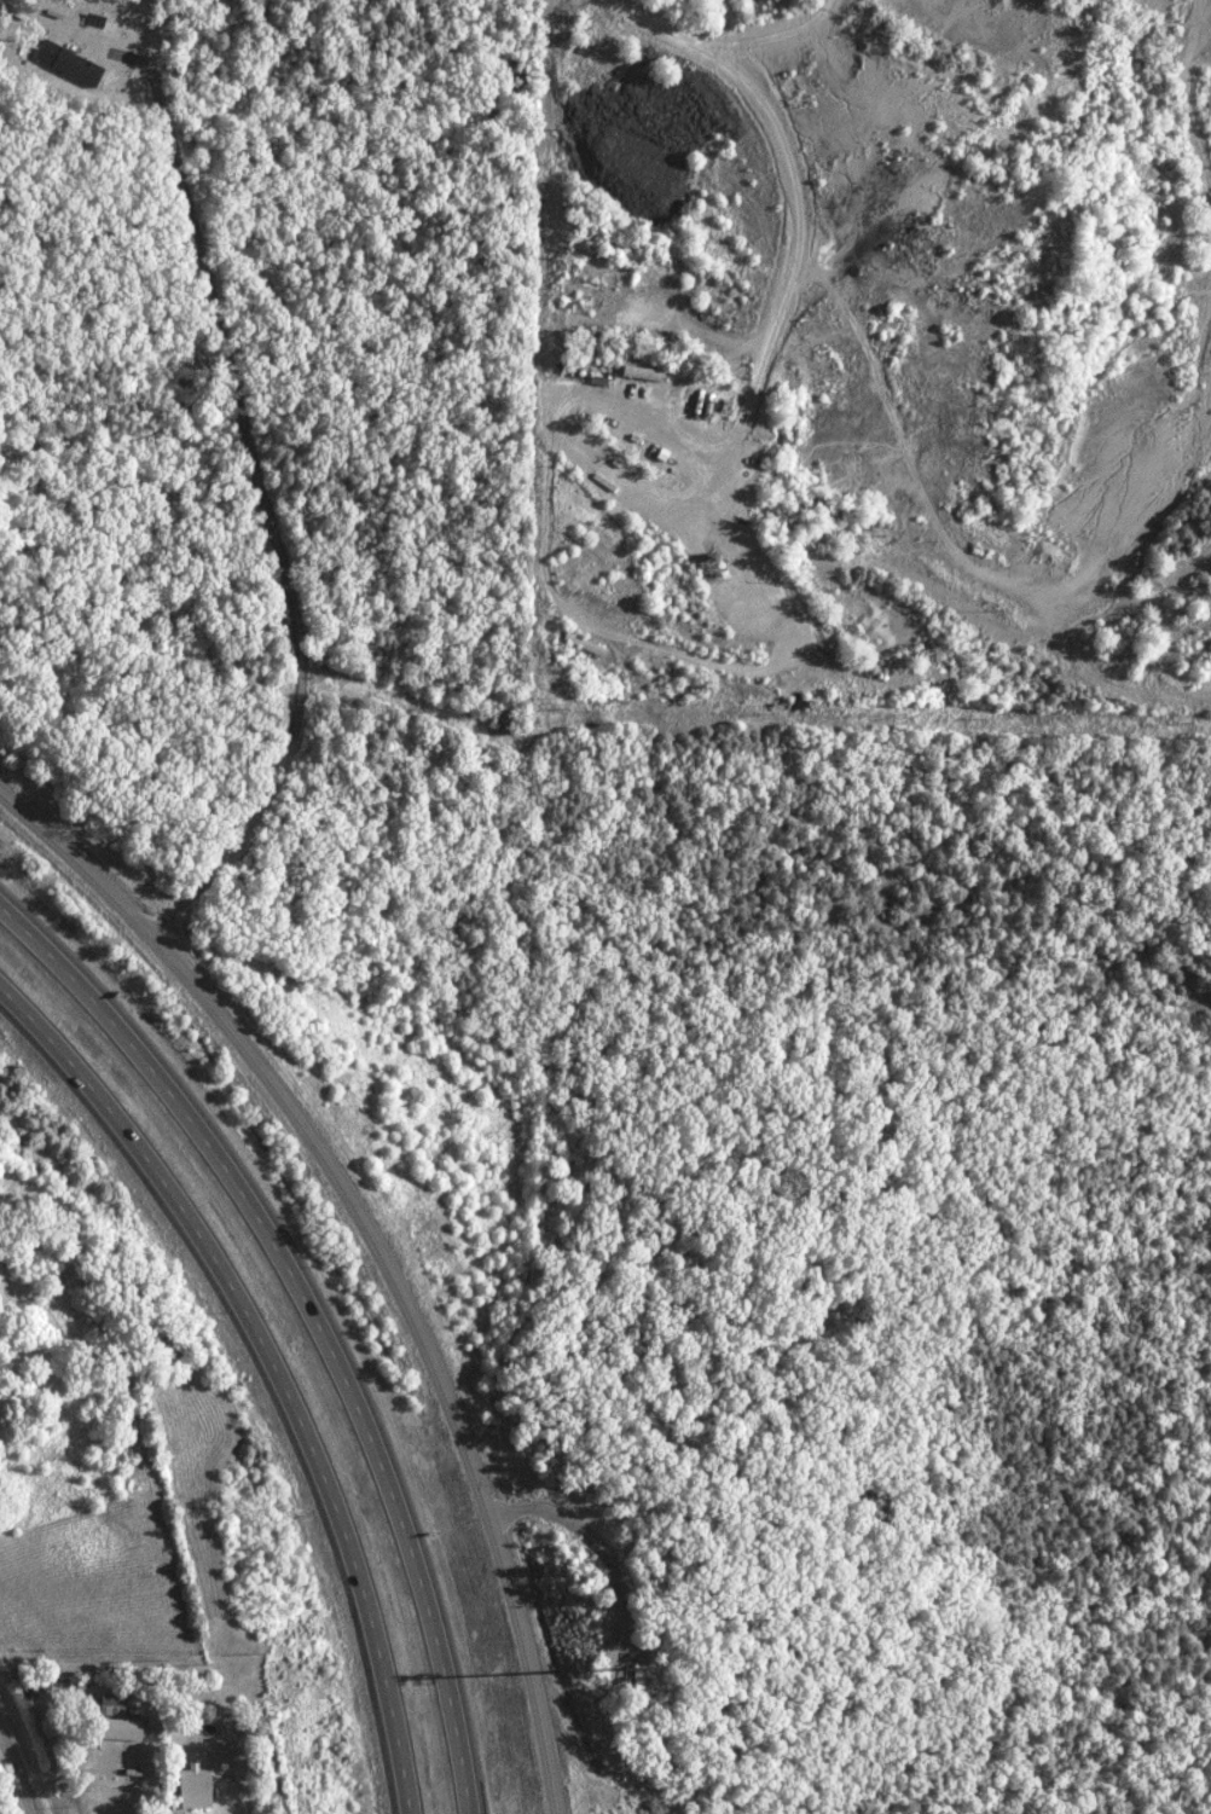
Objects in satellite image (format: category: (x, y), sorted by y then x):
road: (628, 13)
building: (73, 68)
road: (788, 224)
quarry: (868, 352)
road: (371, 1254)
road: (309, 1322)
road: (271, 1367)
building: (630, 1675)
building: (116, 1716)
road: (22, 1761)
building: (189, 1786)

